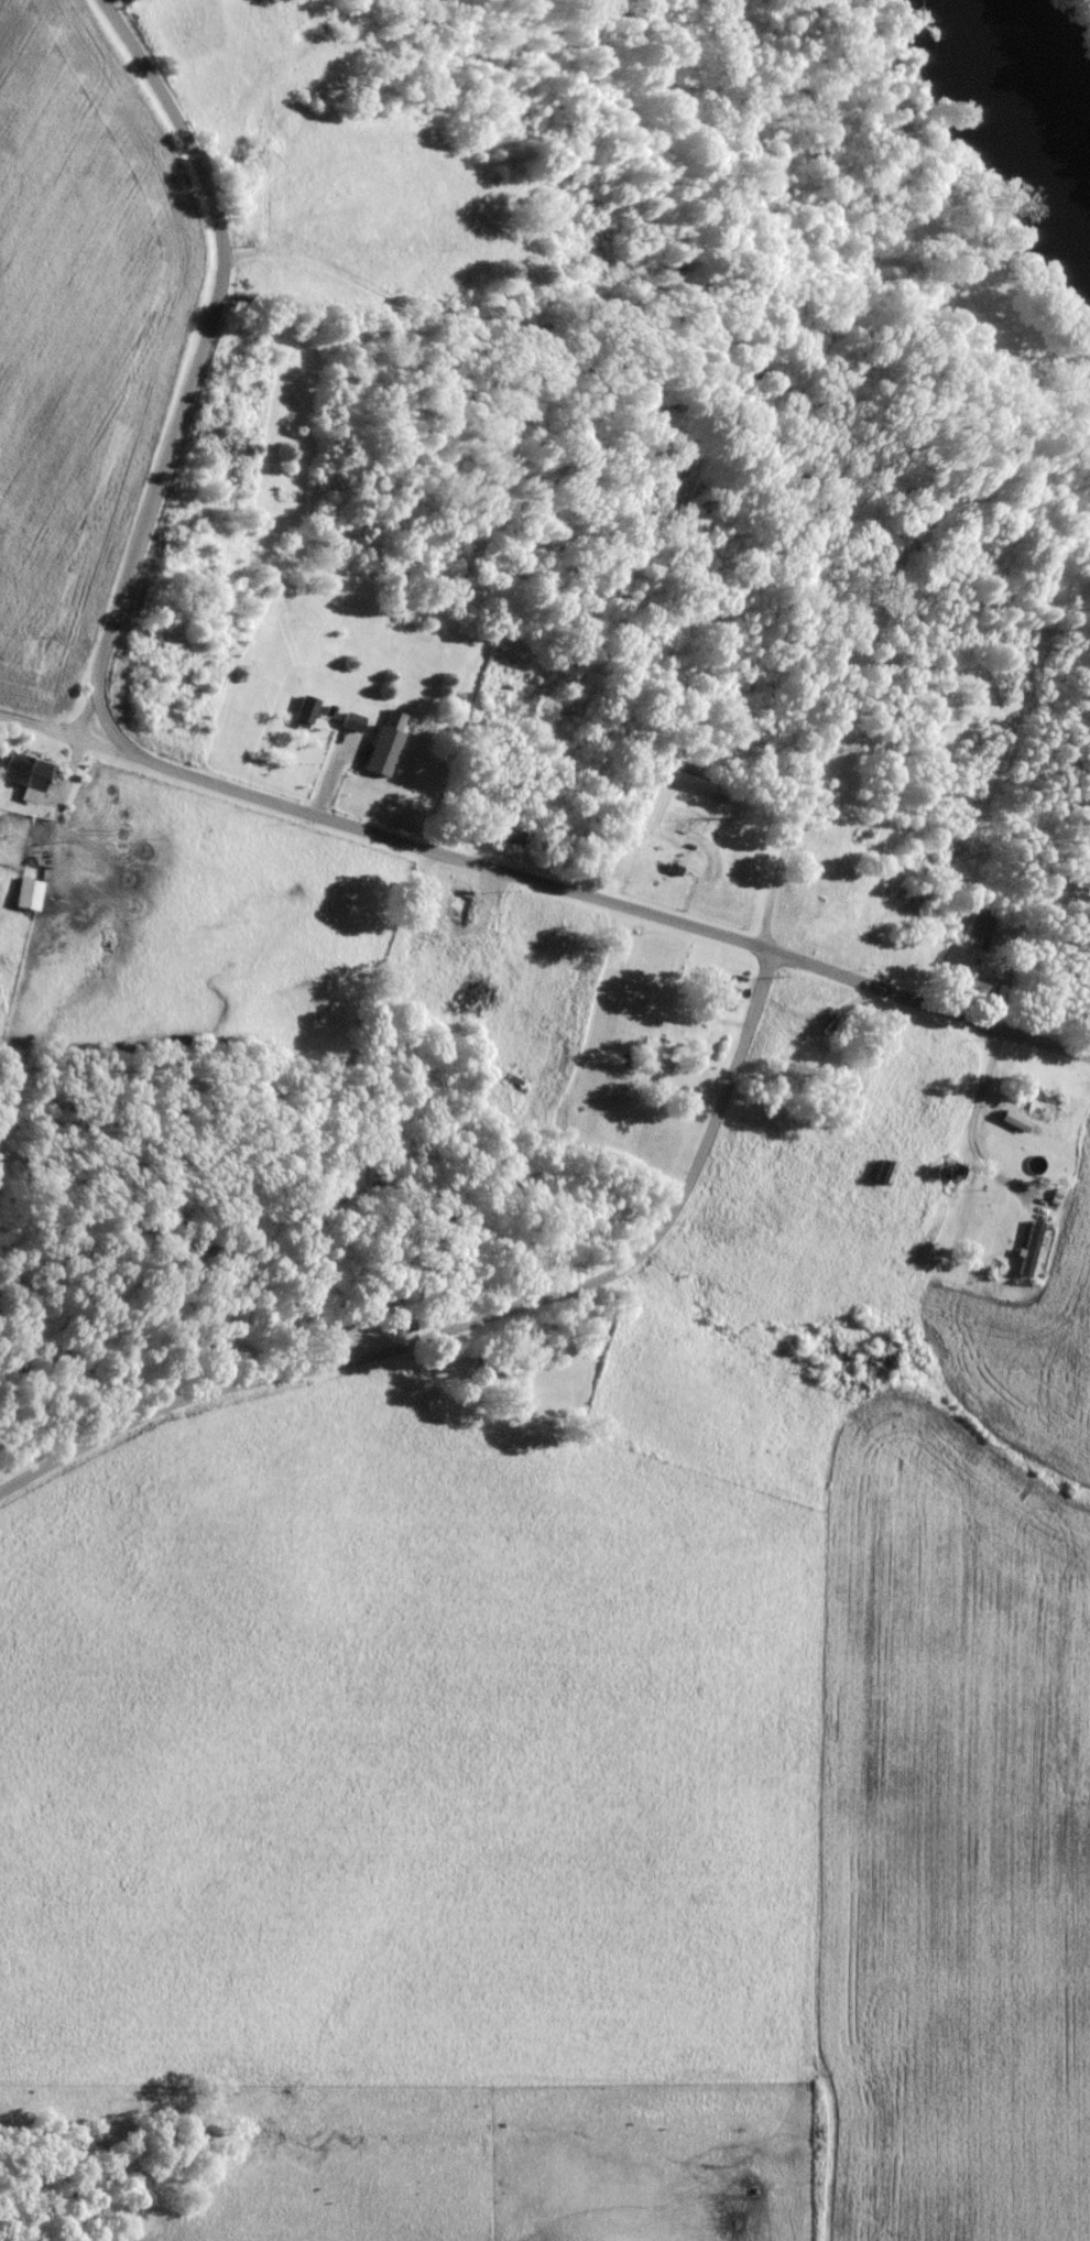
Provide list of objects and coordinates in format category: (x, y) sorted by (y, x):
river: (1039, 100)
road: (171, 664)
road: (874, 668)
building: (305, 711)
building: (382, 750)
building: (28, 770)
building: (512, 836)
building: (31, 883)
building: (460, 903)
building: (722, 993)
road: (936, 999)
building: (636, 1026)
building: (662, 1065)
building: (1017, 1120)
building: (1029, 1247)
road: (490, 1326)

